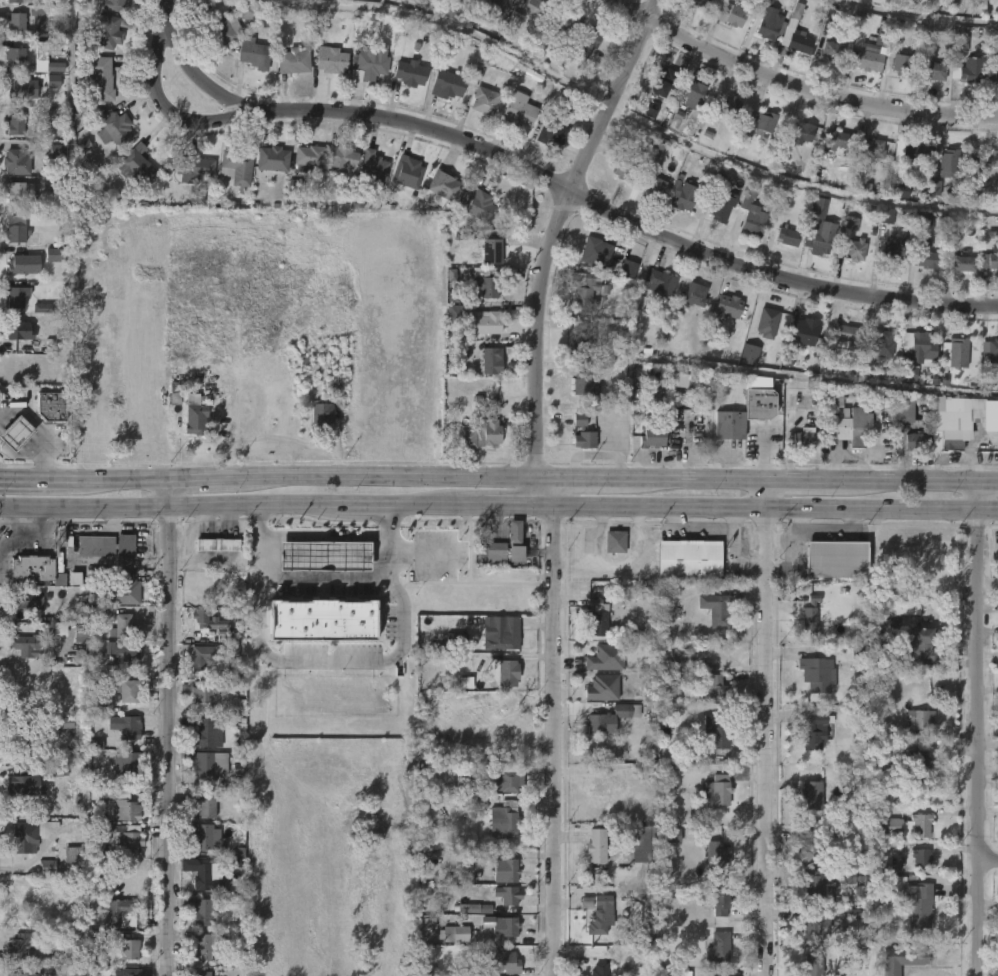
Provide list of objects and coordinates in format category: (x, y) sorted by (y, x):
building: (19, 0)
building: (497, 3)
building: (699, 3)
building: (116, 5)
building: (452, 9)
building: (248, 12)
building: (731, 14)
building: (514, 17)
building: (771, 20)
building: (14, 21)
road: (167, 21)
building: (562, 21)
building: (884, 23)
building: (222, 29)
building: (109, 31)
building: (881, 38)
building: (589, 39)
building: (801, 43)
building: (962, 43)
building: (835, 50)
building: (253, 53)
building: (16, 55)
building: (47, 57)
building: (329, 59)
building: (863, 60)
building: (292, 62)
building: (371, 62)
building: (902, 65)
building: (938, 70)
building: (969, 71)
building: (992, 71)
building: (409, 72)
building: (100, 77)
building: (667, 80)
building: (53, 81)
building: (447, 84)
road: (802, 84)
building: (20, 89)
building: (692, 94)
building: (483, 101)
building: (731, 106)
building: (569, 107)
building: (518, 110)
road: (167, 111)
building: (53, 115)
building: (762, 122)
building: (16, 123)
building: (115, 127)
building: (801, 130)
building: (553, 131)
building: (838, 137)
building: (874, 148)
building: (57, 151)
building: (908, 152)
building: (271, 158)
building: (307, 158)
building: (17, 161)
building: (338, 161)
building: (952, 163)
building: (131, 166)
building: (195, 167)
building: (236, 168)
building: (371, 170)
building: (976, 170)
building: (406, 171)
building: (625, 171)
building: (652, 184)
building: (444, 185)
building: (294, 187)
building: (935, 188)
building: (22, 192)
building: (996, 193)
building: (682, 195)
building: (196, 196)
road: (573, 197)
building: (479, 206)
building: (721, 208)
building: (887, 216)
building: (925, 219)
building: (754, 223)
building: (16, 232)
road: (565, 232)
building: (788, 236)
building: (819, 237)
building: (854, 250)
building: (892, 250)
building: (491, 251)
building: (599, 252)
building: (925, 253)
building: (53, 255)
building: (988, 261)
building: (25, 263)
building: (960, 263)
building: (451, 275)
building: (489, 281)
building: (658, 282)
building: (583, 290)
building: (695, 295)
building: (453, 297)
building: (14, 298)
building: (726, 307)
building: (45, 308)
building: (453, 313)
building: (770, 319)
building: (486, 322)
building: (207, 327)
building: (806, 327)
building: (21, 330)
building: (848, 336)
building: (919, 342)
building: (581, 343)
building: (882, 344)
building: (991, 347)
building: (461, 351)
building: (957, 352)
building: (749, 355)
building: (491, 359)
building: (867, 363)
building: (909, 374)
building: (680, 380)
building: (585, 384)
building: (337, 396)
building: (759, 397)
building: (48, 407)
building: (903, 407)
building: (194, 415)
building: (325, 417)
building: (842, 419)
building: (949, 422)
building: (729, 426)
road: (42, 430)
building: (489, 433)
building: (582, 433)
building: (13, 434)
building: (763, 437)
building: (651, 438)
building: (806, 439)
building: (919, 441)
road: (20, 456)
road: (383, 476)
road: (692, 477)
road: (574, 478)
road: (808, 478)
road: (37, 479)
road: (203, 479)
road: (122, 480)
road: (915, 480)
road: (989, 481)
road: (541, 490)
road: (506, 503)
road: (167, 504)
road: (361, 504)
road: (425, 504)
road: (774, 508)
road: (322, 533)
building: (614, 541)
building: (513, 542)
building: (105, 545)
building: (220, 545)
building: (493, 552)
road: (420, 553)
building: (324, 556)
building: (692, 558)
building: (835, 558)
building: (34, 571)
road: (997, 576)
road: (322, 577)
road: (997, 581)
building: (127, 590)
building: (27, 600)
building: (907, 608)
building: (718, 610)
building: (81, 612)
building: (597, 617)
building: (813, 617)
building: (209, 620)
building: (323, 620)
building: (125, 627)
building: (60, 629)
building: (501, 632)
building: (80, 637)
building: (455, 641)
building: (27, 645)
building: (923, 649)
building: (128, 651)
building: (687, 655)
building: (607, 657)
building: (859, 657)
road: (333, 659)
building: (195, 663)
building: (509, 670)
building: (818, 674)
building: (670, 685)
building: (601, 688)
building: (713, 688)
building: (209, 690)
building: (128, 691)
building: (103, 706)
building: (509, 717)
building: (919, 718)
building: (607, 719)
building: (64, 723)
road: (764, 726)
building: (129, 727)
road: (171, 727)
building: (817, 727)
road: (979, 728)
building: (718, 732)
building: (205, 733)
road: (554, 739)
building: (25, 741)
building: (884, 754)
building: (207, 762)
building: (129, 765)
building: (923, 767)
building: (506, 778)
building: (24, 781)
building: (602, 784)
building: (722, 789)
building: (810, 796)
building: (118, 803)
building: (478, 803)
building: (206, 805)
building: (505, 820)
building: (924, 825)
building: (894, 826)
building: (29, 835)
building: (673, 835)
building: (124, 838)
building: (208, 838)
building: (812, 846)
building: (598, 847)
building: (74, 851)
building: (645, 853)
building: (719, 855)
building: (923, 859)
road: (988, 862)
building: (47, 867)
building: (505, 870)
building: (206, 879)
building: (855, 881)
building: (820, 887)
building: (651, 891)
building: (507, 895)
building: (586, 903)
building: (722, 904)
building: (923, 908)
building: (476, 909)
building: (119, 910)
building: (203, 911)
building: (600, 915)
building: (818, 928)
building: (502, 929)
building: (458, 934)
building: (207, 945)
building: (23, 946)
building: (130, 949)
building: (720, 949)
building: (905, 958)
building: (506, 961)
building: (813, 965)
building: (78, 970)
building: (601, 970)
building: (133, 972)
building: (675, 973)
building: (21, 974)
building: (202, 974)
building: (718, 974)

